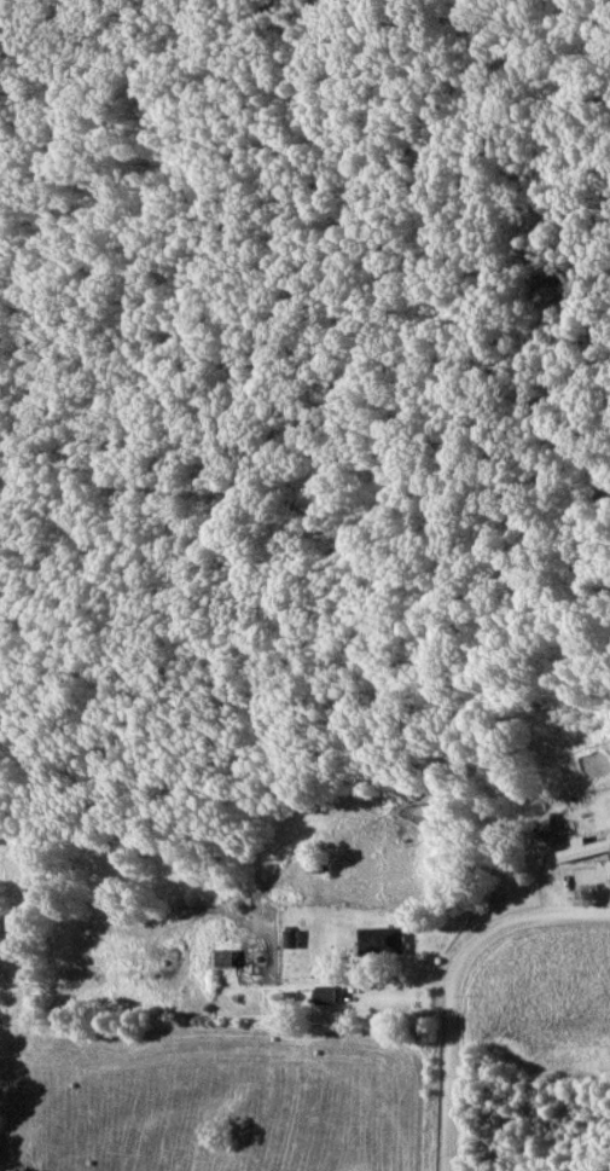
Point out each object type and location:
building: (587, 852)
road: (513, 921)
building: (389, 940)
road: (447, 1078)

